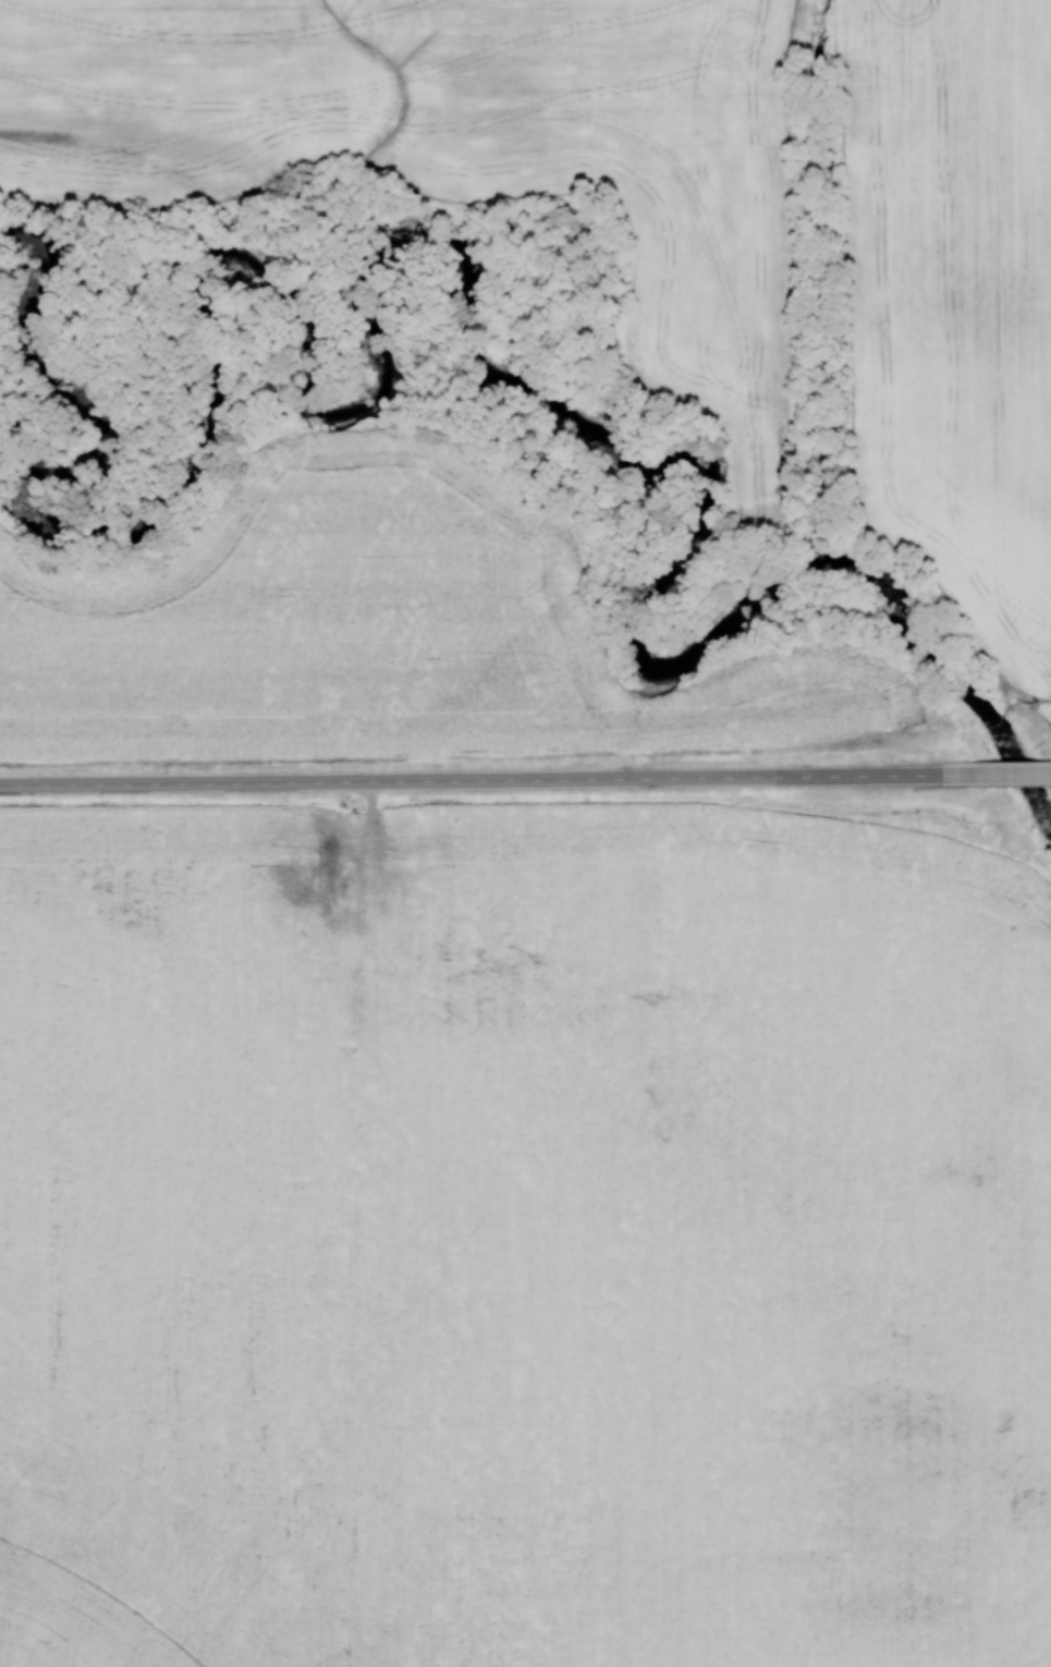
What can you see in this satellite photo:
road: (997, 771)
road: (470, 778)

